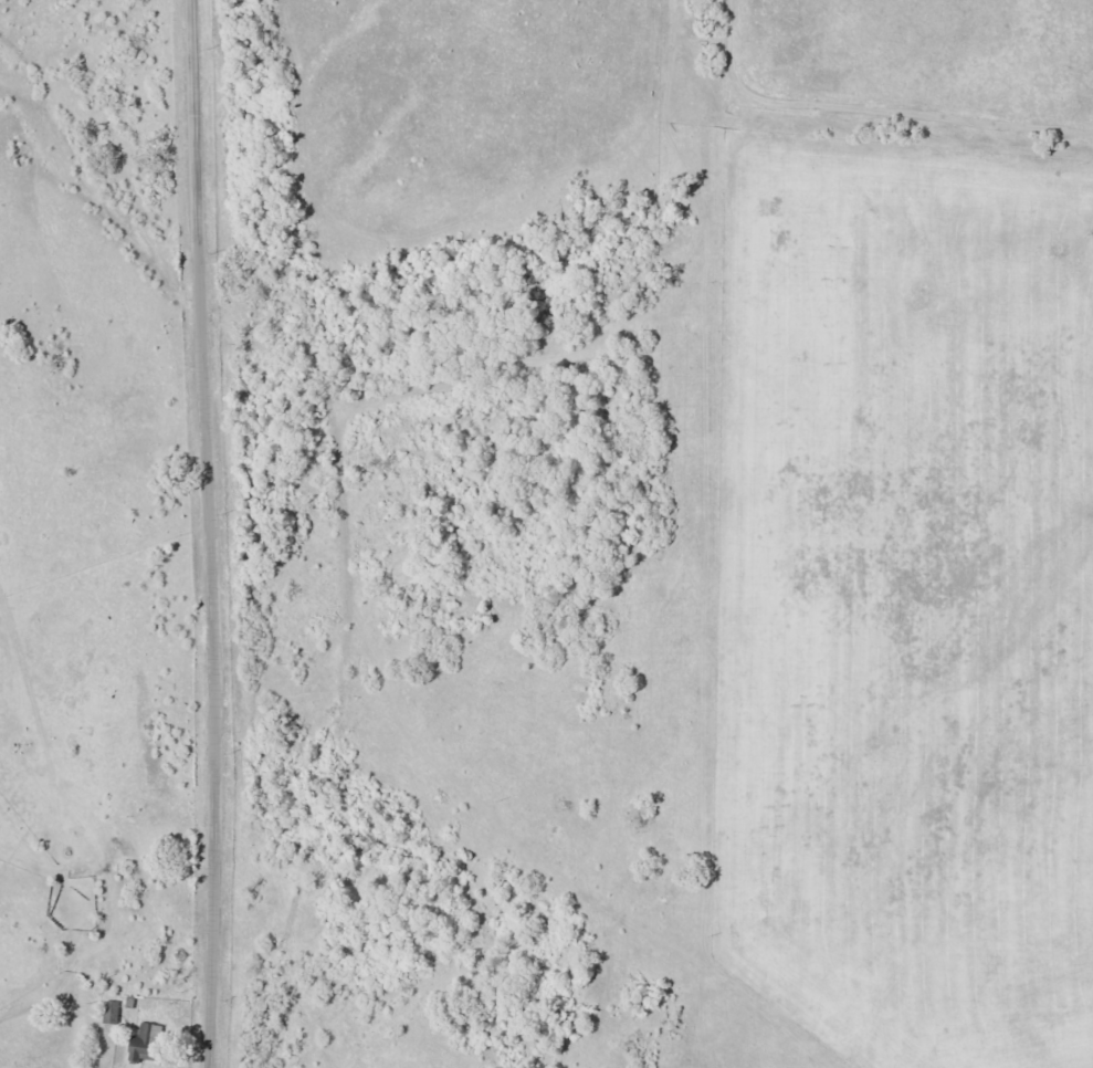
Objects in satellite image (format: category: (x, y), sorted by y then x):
road: (214, 533)
building: (111, 1012)
building: (145, 1043)

